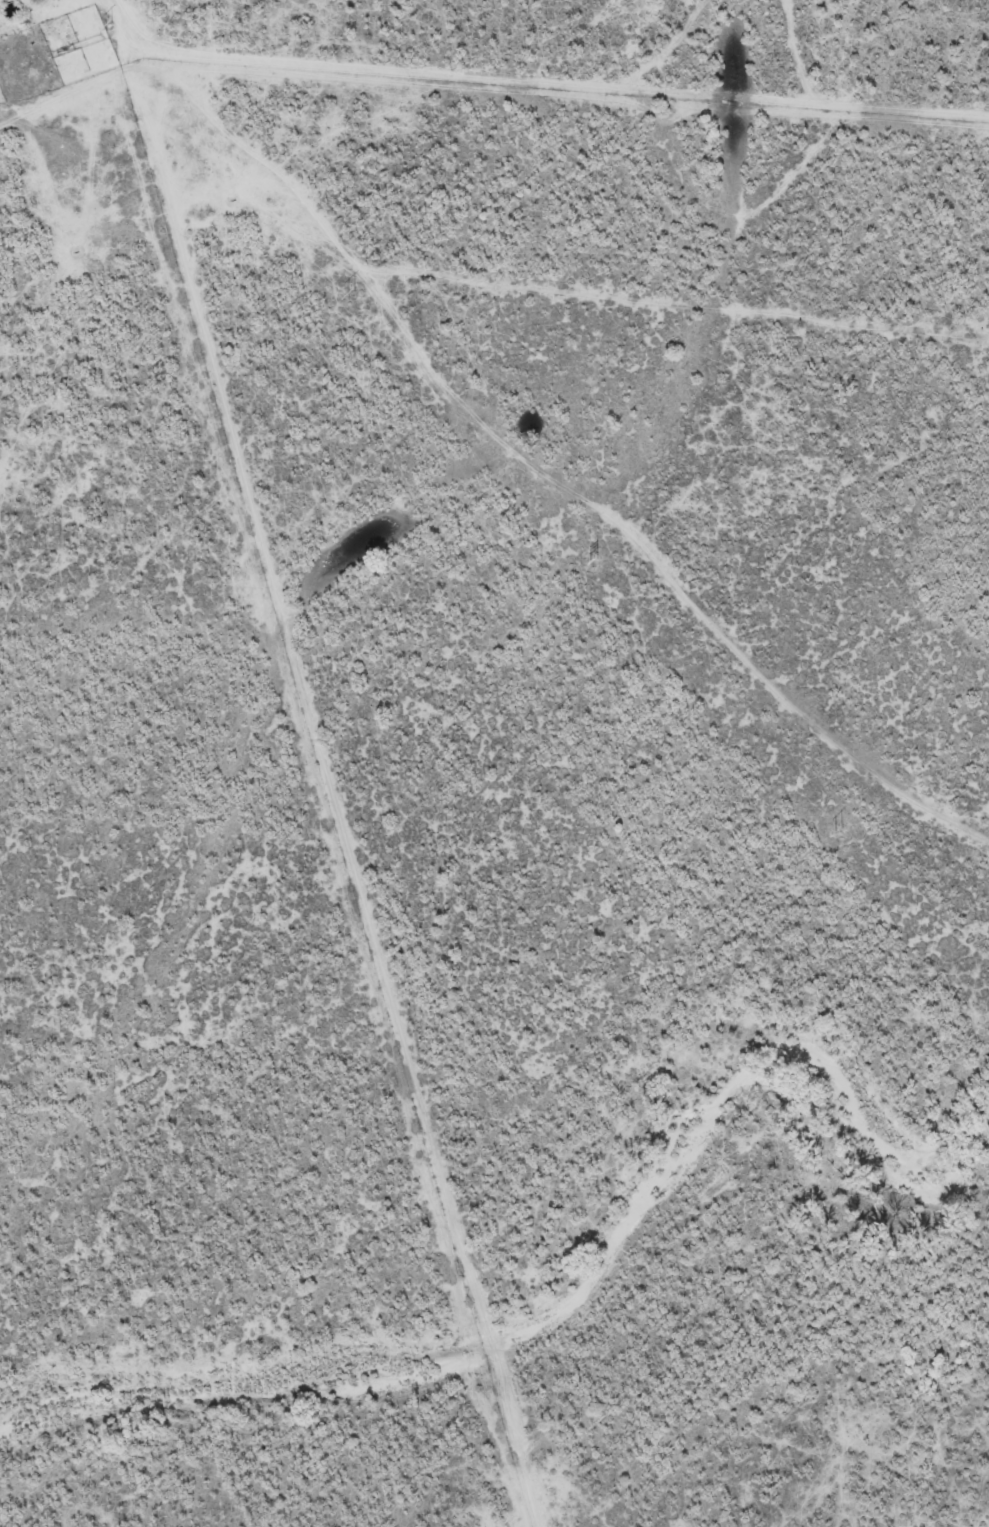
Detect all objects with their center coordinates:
power tower: (107, 27)
road: (91, 39)
power tower: (349, 294)
road: (489, 418)
power tower: (594, 562)
power tower: (836, 830)

